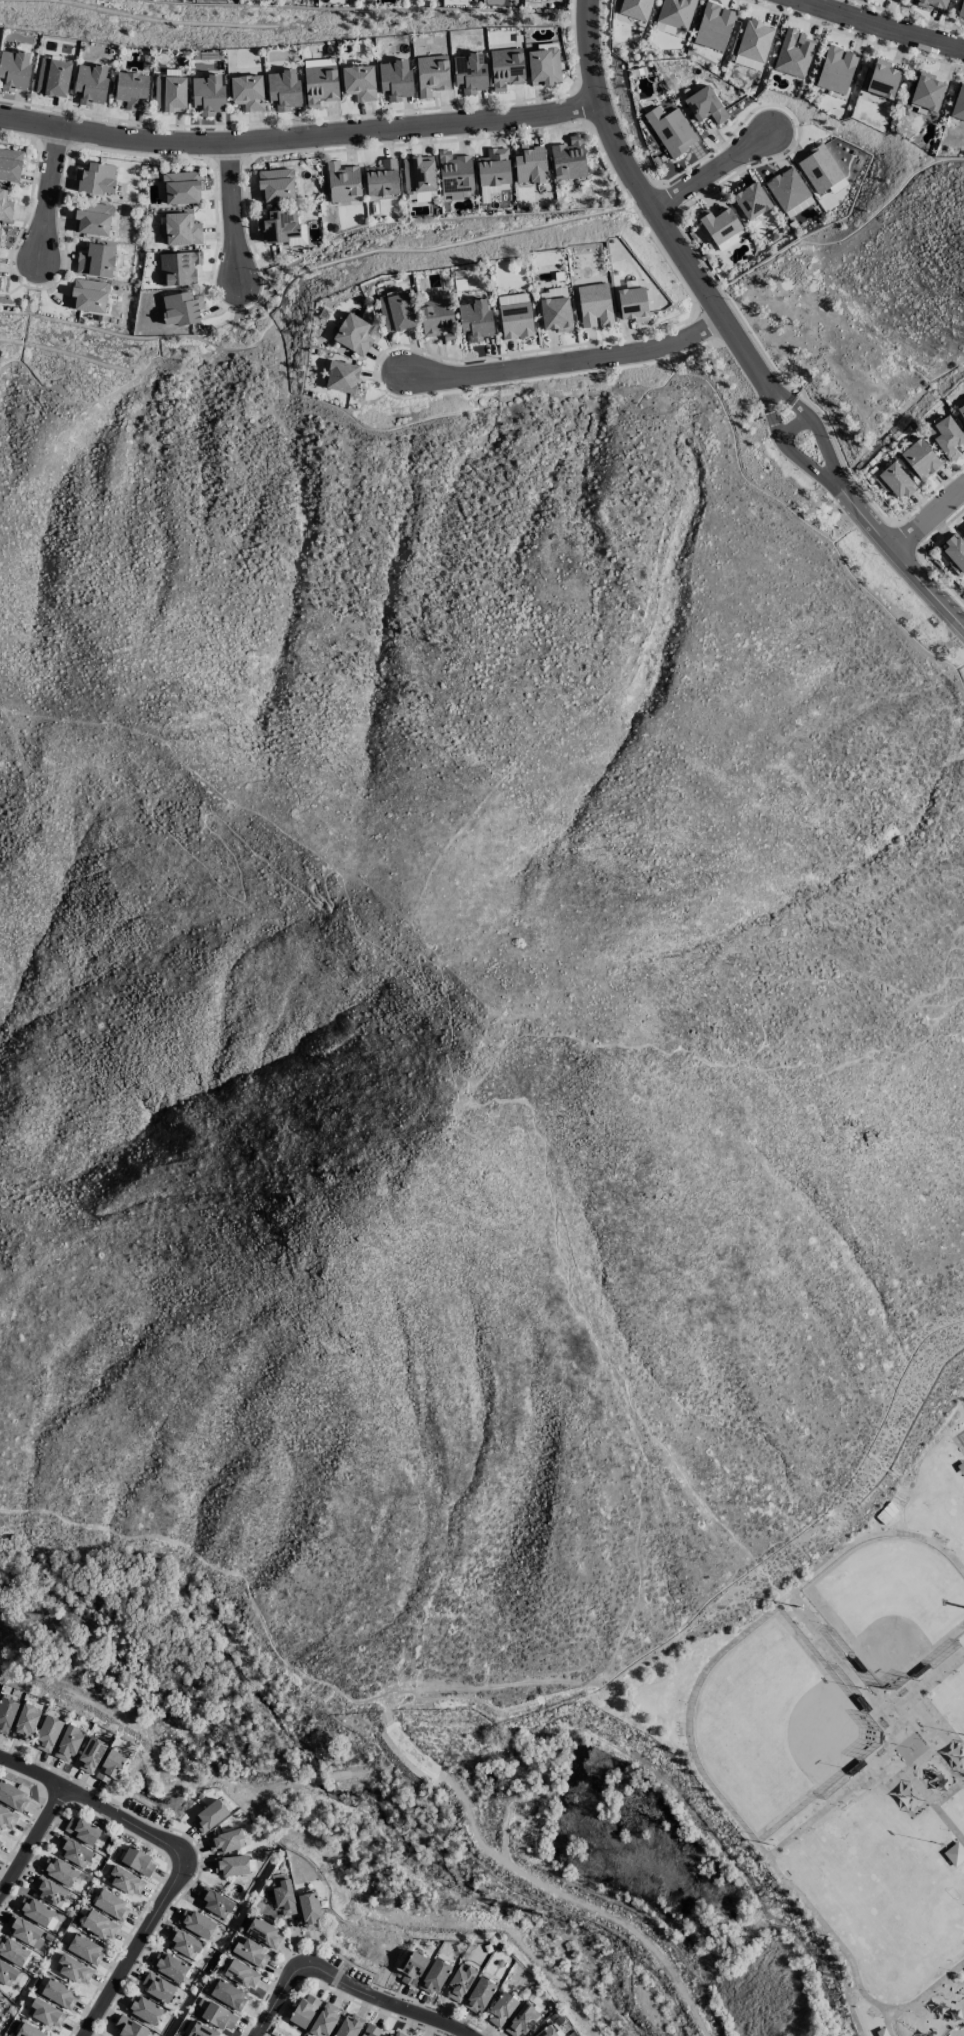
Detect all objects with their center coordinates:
building: (933, 4)
building: (635, 8)
building: (961, 9)
building: (675, 13)
building: (713, 26)
road: (876, 27)
building: (754, 40)
building: (793, 53)
building: (543, 66)
building: (506, 67)
building: (836, 69)
building: (14, 70)
building: (469, 73)
building: (431, 74)
building: (52, 77)
building: (395, 79)
building: (882, 79)
building: (359, 82)
building: (90, 83)
building: (320, 85)
building: (283, 89)
building: (132, 90)
building: (927, 91)
building: (247, 92)
building: (170, 93)
building: (208, 94)
building: (958, 103)
building: (705, 105)
building: (670, 130)
road: (296, 137)
building: (568, 158)
building: (530, 164)
building: (10, 165)
building: (494, 167)
building: (819, 168)
building: (454, 172)
building: (418, 173)
road: (708, 173)
building: (96, 178)
building: (382, 178)
building: (343, 182)
building: (276, 184)
building: (182, 187)
building: (787, 188)
building: (460, 194)
road: (50, 196)
building: (751, 200)
road: (645, 204)
building: (5, 206)
building: (799, 206)
road: (232, 215)
building: (93, 218)
building: (719, 224)
building: (281, 227)
building: (0, 229)
building: (182, 229)
building: (96, 260)
building: (178, 268)
building: (90, 295)
building: (632, 304)
building: (594, 305)
building: (180, 308)
building: (555, 310)
building: (396, 311)
building: (515, 315)
building: (436, 318)
building: (475, 319)
building: (353, 334)
road: (567, 361)
building: (343, 376)
road: (779, 391)
road: (771, 397)
building: (961, 410)
road: (796, 429)
road: (819, 434)
building: (946, 436)
road: (793, 453)
building: (920, 459)
building: (894, 480)
road: (927, 518)
building: (954, 552)
road: (898, 555)
road: (174, 756)
road: (274, 868)
road: (758, 1011)
flagpole: (450, 1119)
road: (605, 1351)
road: (871, 1432)
park: (961, 1437)
road: (958, 1445)
building: (961, 1466)
road: (634, 1541)
park: (892, 1605)
road: (283, 1654)
park: (954, 1690)
road: (869, 1693)
road: (643, 1702)
park: (845, 1710)
building: (6, 1713)
building: (25, 1722)
road: (900, 1724)
park: (776, 1725)
building: (47, 1733)
road: (890, 1734)
building: (68, 1743)
road: (932, 1745)
road: (560, 1748)
flagpole: (911, 1748)
road: (914, 1749)
building: (90, 1755)
road: (694, 1758)
road: (920, 1758)
building: (110, 1766)
building: (12, 1796)
road: (927, 1797)
road: (830, 1804)
road: (96, 1805)
road: (507, 1814)
building: (209, 1815)
building: (7, 1818)
building: (81, 1829)
building: (0, 1838)
building: (225, 1841)
road: (32, 1842)
building: (73, 1850)
building: (954, 1853)
building: (137, 1860)
building: (231, 1865)
building: (61, 1871)
building: (125, 1881)
park: (881, 1890)
building: (51, 1892)
building: (284, 1898)
road: (578, 1901)
building: (215, 1902)
building: (111, 1904)
building: (309, 1908)
building: (36, 1911)
building: (196, 1923)
building: (99, 1924)
building: (24, 1930)
building: (264, 1932)
building: (184, 1943)
building: (85, 1949)
building: (13, 1951)
road: (135, 1952)
building: (251, 1952)
building: (170, 1967)
building: (412, 1968)
building: (73, 1969)
building: (7, 1973)
building: (241, 1973)
building: (434, 1976)
building: (459, 1982)
building: (157, 1986)
road: (347, 1986)
building: (59, 1994)
building: (228, 1994)
building: (478, 1994)
building: (143, 2008)
building: (501, 2008)
building: (304, 2010)
building: (46, 2013)
building: (218, 2016)
road: (894, 2016)
building: (522, 2019)
building: (324, 2020)
road: (888, 2020)
building: (349, 2025)
building: (128, 2027)
building: (371, 2030)
building: (28, 2031)
building: (200, 2031)
building: (549, 2031)
road: (957, 2032)
building: (395, 2033)
road: (961, 2035)

